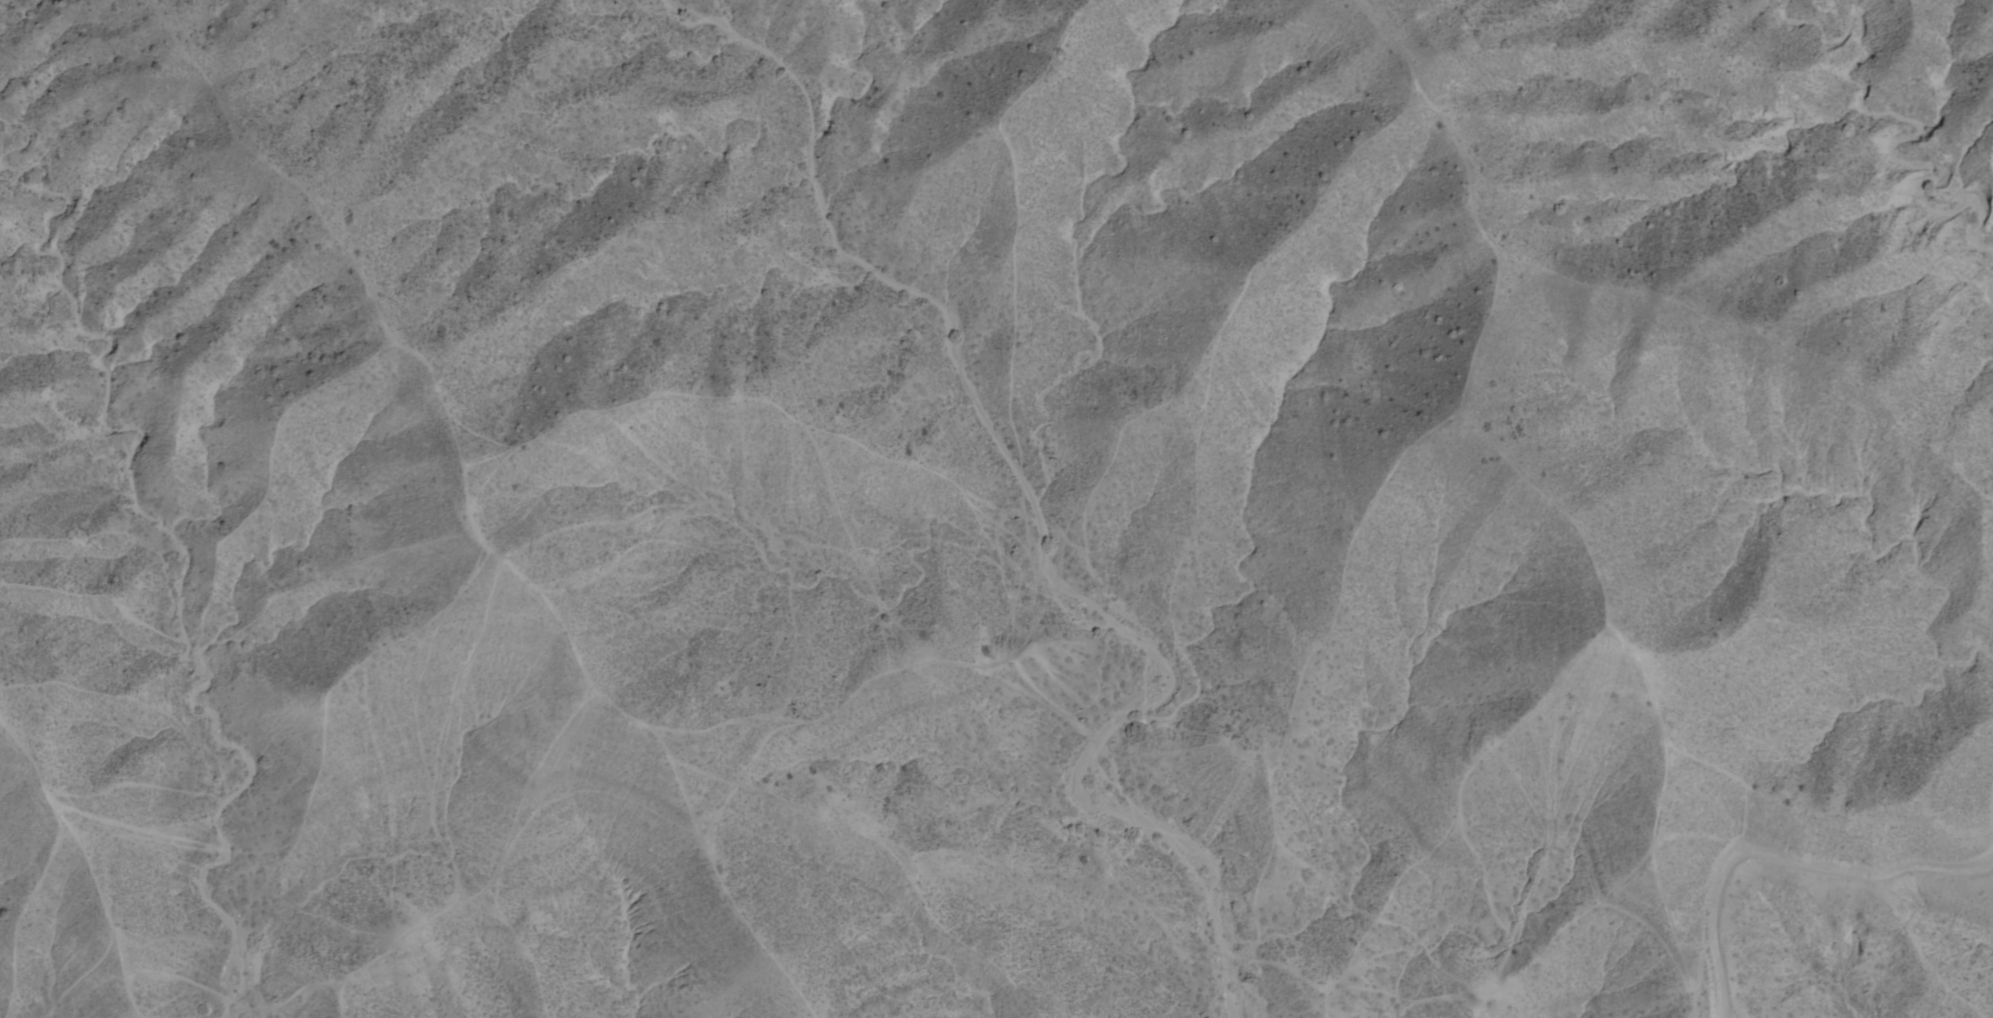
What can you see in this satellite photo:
road: (1789, 863)

